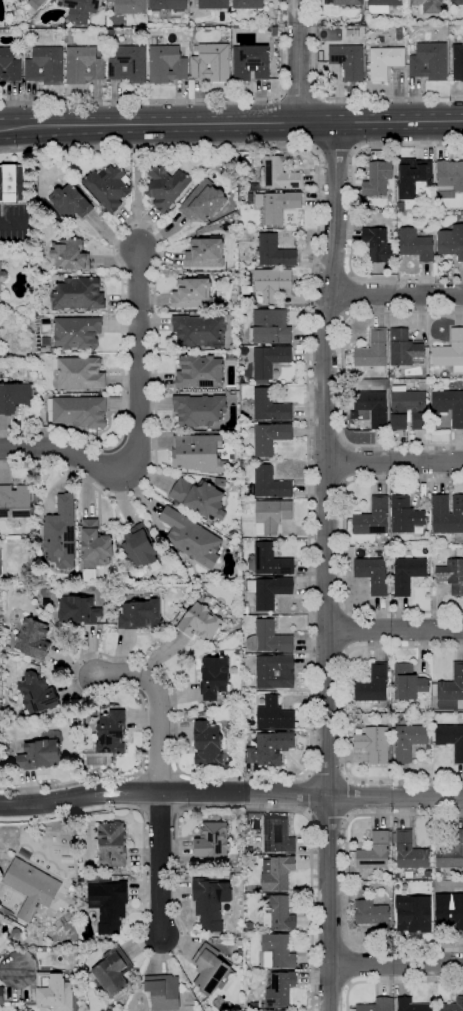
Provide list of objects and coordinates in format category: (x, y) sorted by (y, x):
building: (51, 1)
building: (344, 2)
building: (456, 2)
building: (35, 3)
building: (213, 4)
building: (246, 4)
building: (168, 5)
building: (129, 6)
building: (381, 6)
building: (428, 6)
building: (80, 10)
building: (226, 29)
building: (274, 31)
building: (111, 33)
building: (276, 43)
road: (298, 61)
building: (348, 61)
building: (429, 61)
building: (211, 62)
building: (250, 62)
building: (384, 62)
building: (457, 62)
building: (128, 64)
building: (166, 64)
building: (9, 65)
building: (83, 65)
building: (45, 66)
road: (297, 93)
road: (342, 98)
road: (187, 99)
road: (231, 124)
road: (335, 151)
building: (280, 175)
building: (450, 176)
building: (412, 177)
building: (377, 179)
building: (12, 183)
building: (166, 186)
building: (108, 187)
road: (136, 197)
building: (70, 201)
building: (201, 202)
building: (280, 206)
building: (400, 206)
road: (353, 214)
road: (12, 224)
parking lot: (14, 224)
building: (451, 242)
building: (377, 244)
building: (415, 245)
building: (274, 251)
building: (204, 253)
building: (70, 254)
road: (332, 273)
building: (2, 281)
building: (271, 283)
road: (394, 292)
building: (190, 293)
building: (78, 294)
road: (348, 294)
road: (327, 312)
building: (271, 326)
building: (199, 330)
building: (76, 332)
building: (404, 349)
building: (372, 351)
building: (450, 352)
road: (137, 354)
building: (269, 359)
building: (200, 372)
building: (80, 373)
building: (391, 374)
road: (342, 378)
building: (422, 384)
building: (14, 396)
building: (449, 405)
building: (269, 406)
building: (372, 407)
building: (199, 410)
building: (398, 410)
building: (80, 411)
building: (440, 432)
building: (269, 437)
road: (346, 443)
road: (71, 453)
building: (198, 453)
road: (308, 458)
road: (394, 462)
building: (269, 483)
road: (326, 483)
building: (200, 497)
building: (15, 501)
building: (272, 514)
building: (447, 514)
building: (404, 515)
building: (372, 518)
building: (60, 534)
building: (190, 537)
building: (96, 543)
building: (139, 546)
road: (344, 546)
building: (270, 561)
road: (326, 566)
building: (372, 574)
building: (407, 574)
building: (452, 575)
building: (271, 592)
road: (326, 600)
building: (78, 610)
building: (139, 615)
building: (200, 622)
road: (394, 629)
road: (347, 630)
building: (271, 637)
building: (33, 639)
road: (328, 649)
road: (83, 654)
building: (274, 671)
building: (214, 677)
building: (407, 682)
building: (373, 685)
building: (452, 685)
building: (37, 694)
road: (158, 705)
road: (345, 712)
building: (275, 715)
building: (112, 732)
building: (451, 740)
building: (408, 741)
building: (208, 744)
building: (374, 744)
building: (269, 748)
building: (40, 755)
road: (327, 774)
road: (230, 792)
road: (305, 793)
road: (349, 797)
road: (159, 809)
road: (326, 816)
building: (277, 835)
building: (212, 840)
building: (112, 844)
building: (409, 851)
building: (375, 853)
building: (451, 853)
road: (160, 863)
building: (277, 873)
building: (407, 873)
building: (428, 873)
building: (437, 873)
building: (461, 874)
building: (355, 876)
road: (347, 880)
road: (176, 882)
building: (31, 886)
building: (210, 901)
building: (108, 905)
building: (448, 911)
building: (280, 912)
building: (413, 914)
building: (372, 915)
road: (331, 943)
building: (279, 950)
road: (395, 965)
building: (209, 968)
road: (9, 969)
building: (113, 970)
road: (393, 981)
road: (350, 984)
building: (279, 988)
building: (54, 991)
building: (163, 991)
building: (1, 995)
building: (377, 1005)
building: (411, 1005)
building: (451, 1005)
building: (276, 1010)

